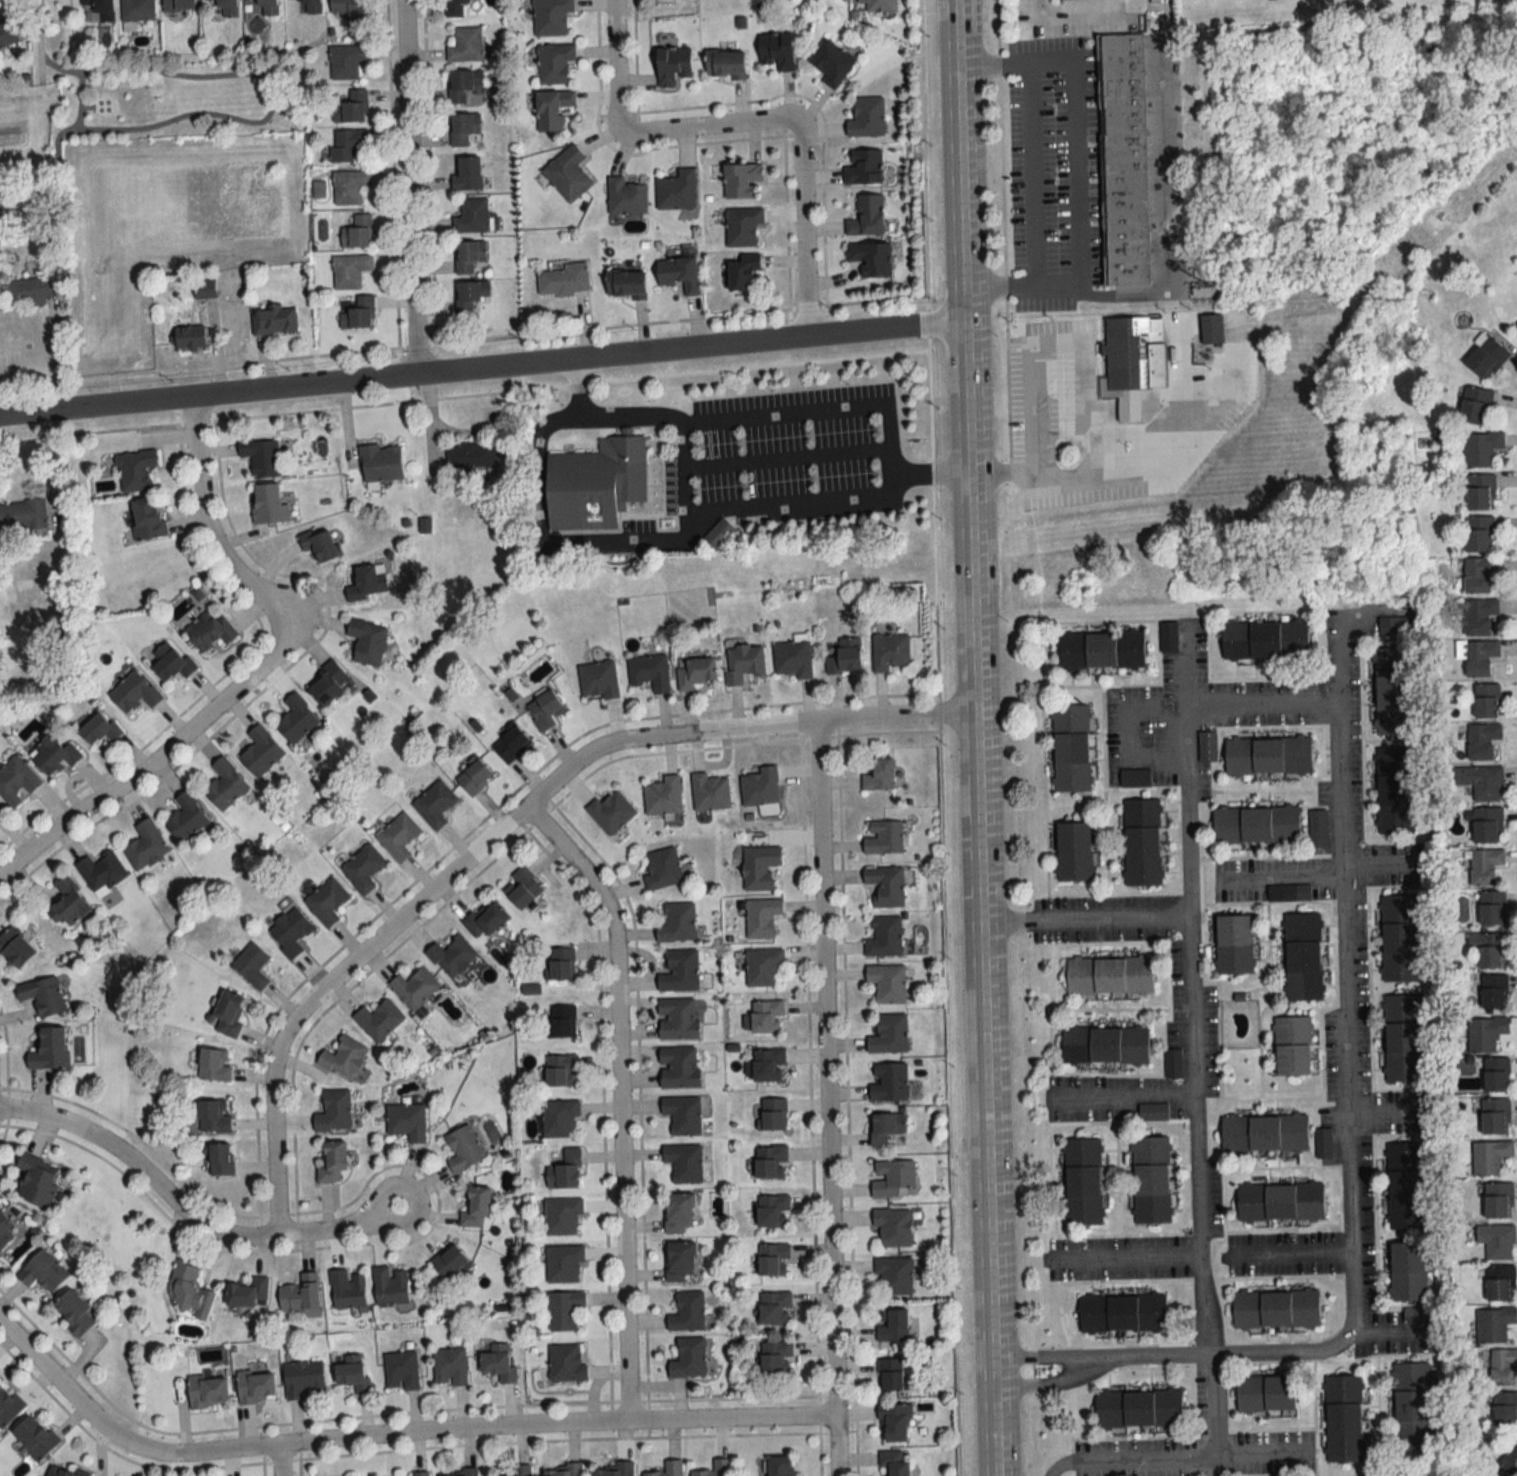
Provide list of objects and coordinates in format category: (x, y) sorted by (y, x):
building: (179, 4)
building: (880, 5)
building: (310, 6)
building: (267, 7)
building: (346, 7)
building: (222, 8)
building: (457, 8)
road: (1087, 9)
building: (101, 10)
building: (137, 10)
building: (552, 17)
building: (7, 31)
building: (464, 43)
building: (778, 49)
building: (346, 60)
building: (832, 61)
building: (554, 62)
building: (726, 63)
building: (673, 65)
road: (613, 66)
building: (464, 83)
park: (160, 97)
road: (270, 101)
road: (79, 102)
building: (351, 106)
building: (553, 108)
building: (867, 116)
road: (707, 126)
building: (464, 127)
road: (1039, 130)
building: (348, 143)
building: (1125, 158)
building: (864, 166)
building: (467, 172)
building: (568, 173)
building: (741, 179)
building: (349, 186)
road: (406, 187)
building: (677, 190)
building: (626, 196)
building: (0, 206)
building: (472, 215)
building: (868, 215)
building: (743, 225)
road: (802, 227)
building: (357, 232)
building: (469, 255)
building: (872, 257)
building: (349, 270)
building: (680, 272)
building: (745, 272)
road: (1168, 277)
building: (564, 280)
building: (626, 283)
building: (205, 289)
building: (30, 290)
building: (471, 295)
building: (356, 311)
building: (275, 319)
building: (1212, 328)
building: (189, 336)
road: (1056, 345)
road: (55, 356)
road: (259, 356)
building: (1486, 356)
building: (1133, 361)
road: (481, 369)
building: (1476, 404)
road: (468, 430)
building: (1481, 448)
road: (887, 453)
building: (262, 457)
building: (471, 458)
building: (381, 462)
road: (1068, 468)
building: (135, 469)
road: (928, 473)
building: (595, 485)
building: (1481, 491)
building: (268, 504)
building: (23, 515)
building: (147, 517)
building: (719, 533)
building: (1480, 533)
road: (618, 542)
building: (320, 544)
building: (1479, 574)
building: (368, 581)
building: (1480, 617)
building: (1398, 625)
building: (210, 629)
building: (1266, 639)
building: (367, 640)
building: (1101, 649)
building: (890, 651)
building: (844, 655)
building: (1481, 656)
building: (793, 658)
building: (172, 661)
building: (743, 663)
road: (251, 670)
building: (650, 672)
building: (695, 672)
building: (598, 679)
building: (328, 683)
building: (134, 691)
building: (1393, 691)
building: (1487, 700)
road: (1262, 704)
building: (545, 709)
building: (297, 719)
building: (100, 728)
road: (1128, 734)
road: (938, 738)
road: (973, 738)
building: (1482, 740)
building: (511, 743)
road: (1339, 744)
building: (1071, 748)
building: (261, 751)
building: (53, 754)
building: (1268, 756)
building: (1395, 759)
building: (878, 773)
building: (474, 776)
building: (1135, 777)
building: (16, 781)
building: (1481, 781)
building: (226, 785)
building: (760, 787)
building: (710, 792)
building: (663, 796)
building: (435, 803)
building: (1396, 803)
building: (0, 810)
building: (1142, 811)
building: (611, 812)
building: (186, 817)
building: (1256, 825)
building: (1488, 825)
road: (500, 827)
building: (399, 836)
building: (883, 836)
building: (146, 845)
building: (1074, 851)
building: (1143, 856)
road: (1382, 862)
building: (760, 866)
building: (1485, 866)
building: (363, 867)
building: (662, 868)
building: (102, 872)
road: (1283, 874)
building: (886, 885)
building: (523, 887)
building: (326, 901)
building: (68, 903)
building: (1493, 908)
building: (762, 917)
road: (1084, 918)
building: (485, 920)
building: (676, 922)
building: (290, 931)
building: (884, 936)
building: (1400, 937)
building: (1234, 944)
building: (14, 949)
building: (1490, 949)
building: (451, 956)
building: (1303, 956)
building: (562, 964)
building: (252, 965)
building: (764, 967)
building: (680, 971)
building: (1110, 976)
building: (887, 983)
building: (415, 987)
building: (1494, 992)
building: (42, 995)
building: (229, 1012)
building: (767, 1017)
building: (678, 1018)
building: (378, 1019)
building: (563, 1021)
building: (1486, 1033)
building: (889, 1034)
building: (1402, 1038)
building: (1105, 1045)
building: (1293, 1046)
road: (1192, 1048)
building: (50, 1049)
building: (343, 1057)
building: (214, 1064)
building: (769, 1065)
building: (679, 1067)
building: (560, 1070)
building: (1497, 1075)
building: (889, 1081)
road: (615, 1097)
road: (824, 1098)
road: (1119, 1098)
road: (1344, 1109)
building: (334, 1111)
building: (683, 1114)
building: (773, 1114)
road: (1387, 1114)
building: (213, 1115)
building: (1496, 1117)
building: (560, 1119)
building: (407, 1121)
building: (887, 1129)
building: (1264, 1133)
building: (464, 1149)
building: (1405, 1154)
building: (1490, 1157)
building: (219, 1159)
building: (331, 1161)
building: (771, 1161)
building: (684, 1162)
building: (566, 1171)
building: (894, 1178)
building: (37, 1180)
building: (1151, 1180)
building: (1083, 1182)
building: (1497, 1199)
building: (1406, 1200)
building: (1280, 1202)
building: (476, 1207)
building: (771, 1211)
building: (679, 1213)
road: (187, 1215)
building: (562, 1216)
building: (893, 1226)
building: (5, 1231)
building: (1497, 1241)
road: (1287, 1253)
building: (773, 1259)
road: (1121, 1261)
building: (449, 1262)
building: (681, 1262)
building: (564, 1263)
building: (43, 1272)
building: (1408, 1272)
building: (894, 1276)
building: (1500, 1283)
building: (390, 1286)
building: (347, 1290)
building: (190, 1291)
building: (248, 1293)
building: (300, 1294)
building: (775, 1308)
building: (1276, 1309)
building: (564, 1310)
building: (687, 1312)
building: (74, 1313)
building: (1122, 1313)
building: (892, 1324)
building: (1494, 1324)
road: (1385, 1331)
building: (776, 1357)
building: (688, 1358)
road: (1162, 1359)
building: (499, 1363)
building: (566, 1363)
building: (449, 1367)
building: (1503, 1367)
building: (401, 1371)
building: (353, 1374)
building: (891, 1374)
building: (303, 1378)
building: (256, 1387)
building: (208, 1391)
building: (1266, 1394)
building: (1412, 1406)
building: (9, 1407)
building: (1139, 1409)
building: (1505, 1409)
building: (1344, 1418)
building: (894, 1424)
road: (392, 1436)
building: (35, 1437)
road: (1174, 1454)
building: (1510, 1459)
road: (274, 1461)
building: (894, 1463)
building: (781, 1466)
building: (668, 1469)
building: (716, 1469)
building: (522, 1470)
building: (617, 1470)
building: (63, 1471)
building: (563, 1471)
building: (420, 1473)
building: (459, 1473)

